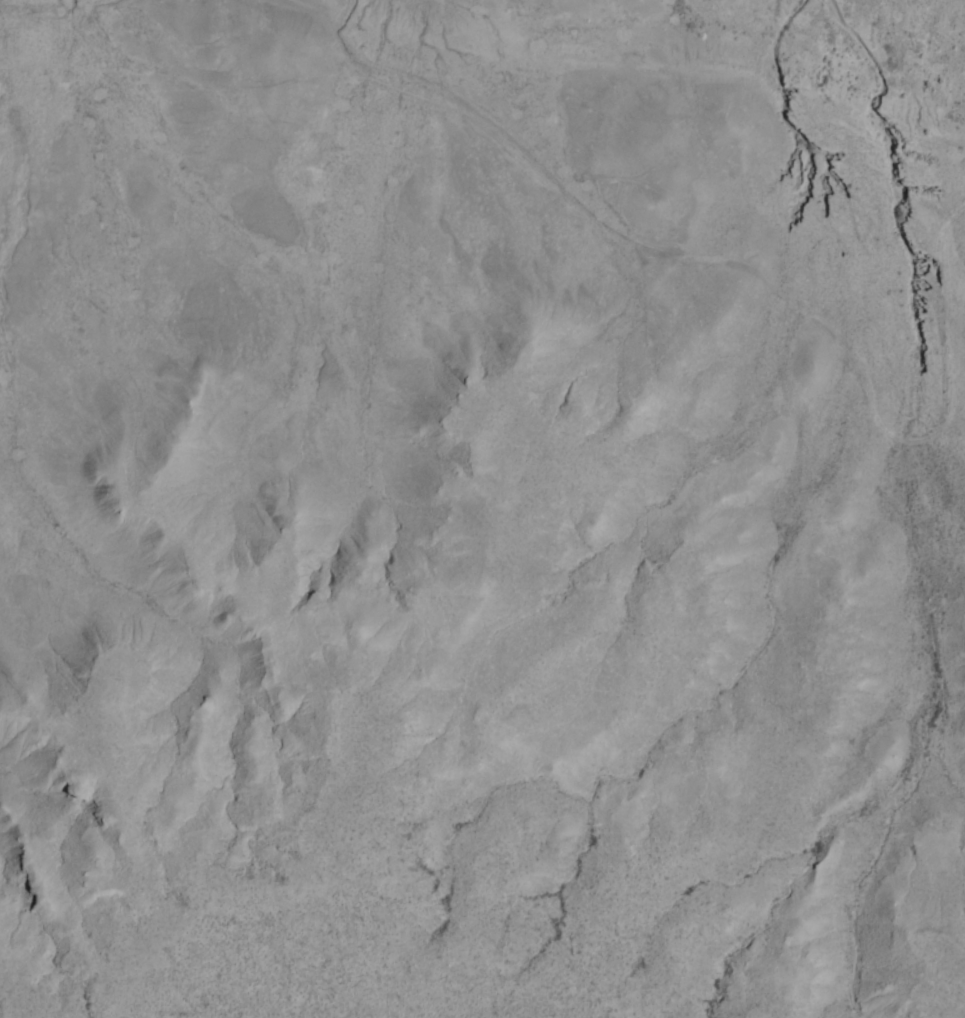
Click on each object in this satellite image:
road: (789, 112)

